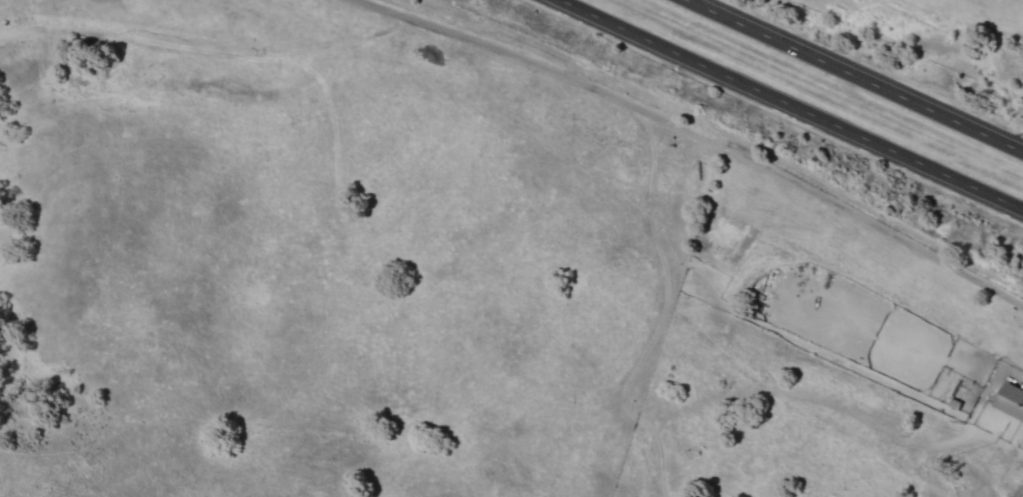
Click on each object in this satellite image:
road: (863, 68)
road: (786, 101)
building: (1008, 400)

